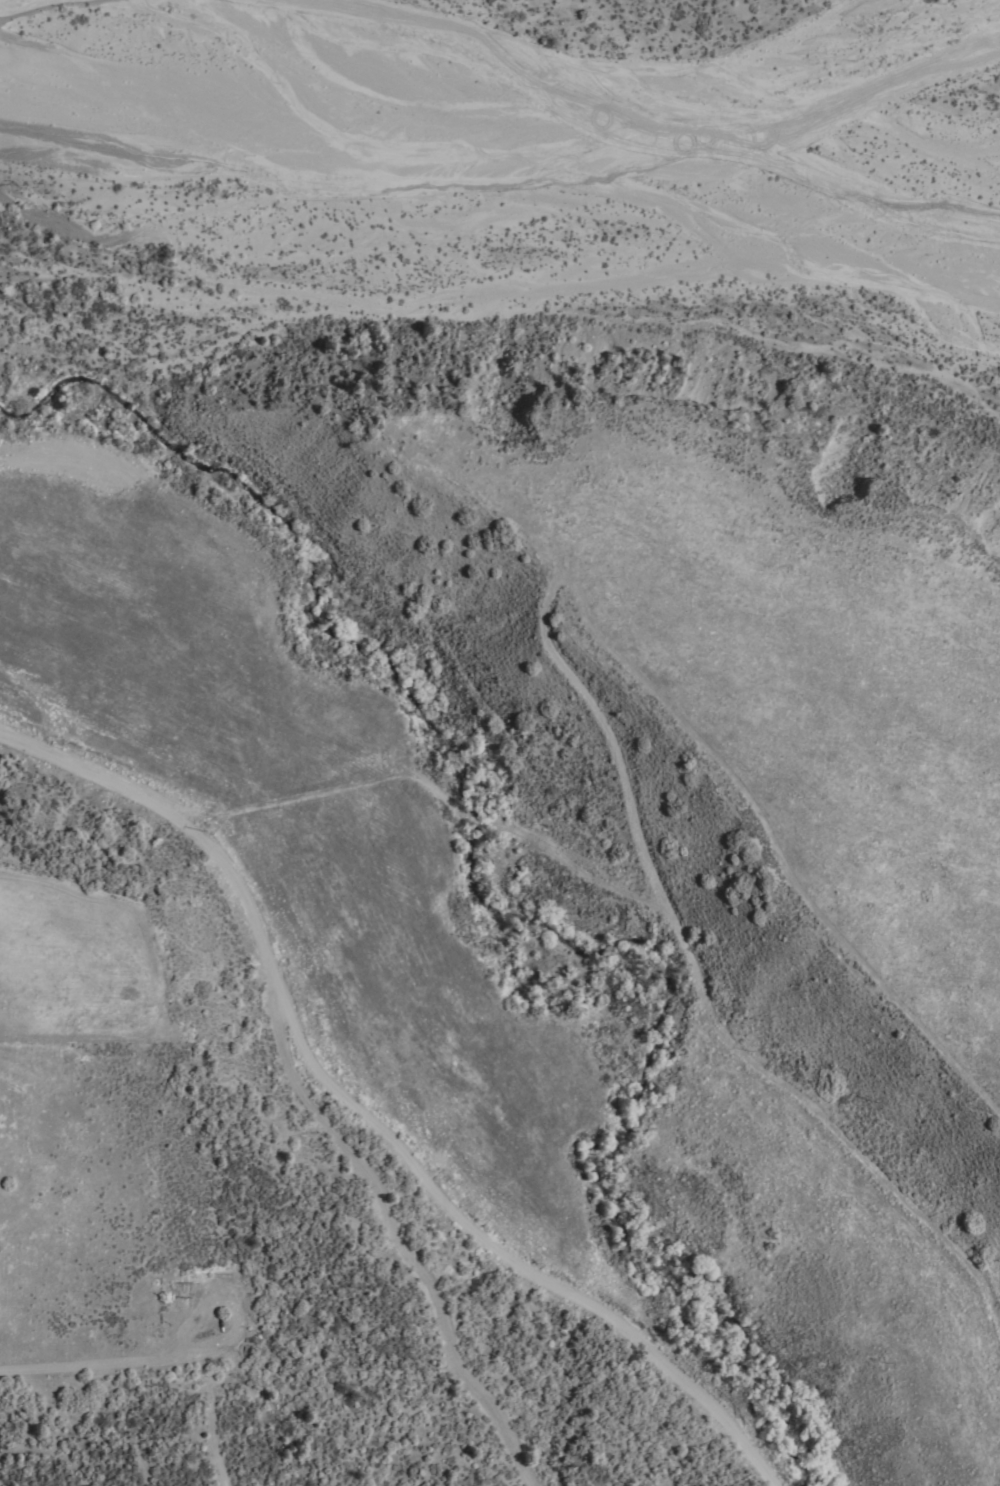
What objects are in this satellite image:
river: (807, 72)
river: (292, 105)
road: (363, 1121)

